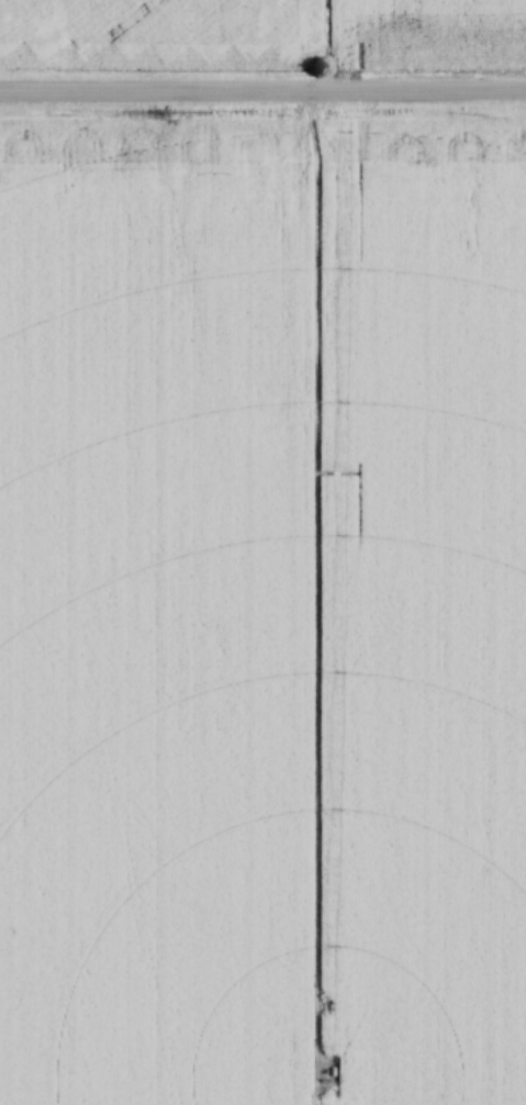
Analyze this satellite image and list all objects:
road: (262, 92)

